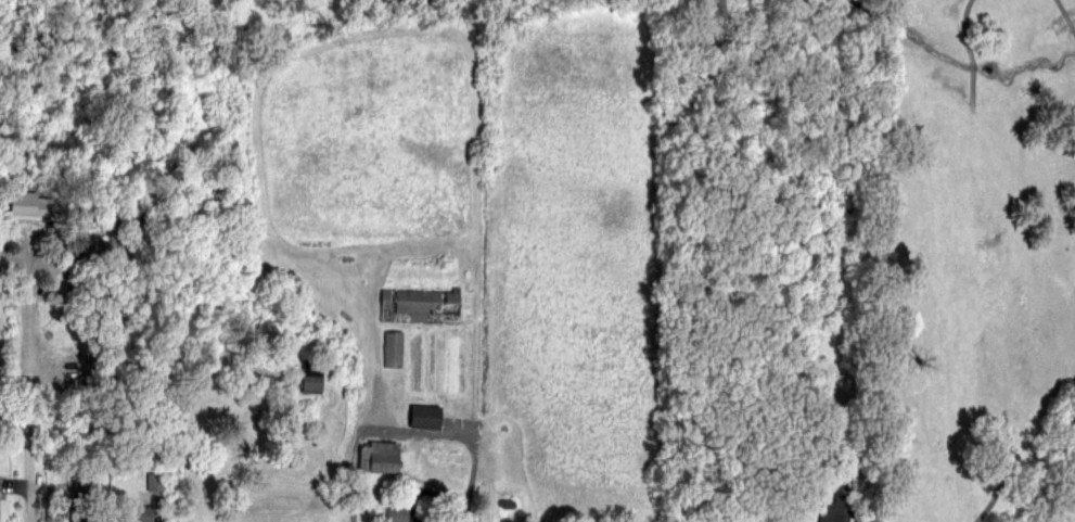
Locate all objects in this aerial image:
road: (1066, 14)
road: (965, 29)
road: (973, 66)
road: (973, 87)
building: (30, 208)
park: (978, 262)
building: (417, 305)
road: (28, 345)
building: (393, 348)
building: (310, 378)
building: (424, 416)
road: (412, 431)
building: (379, 457)
road: (1001, 474)
building: (153, 482)
road: (29, 483)
road: (434, 492)
building: (835, 510)
building: (81, 513)
building: (138, 514)
building: (396, 514)

